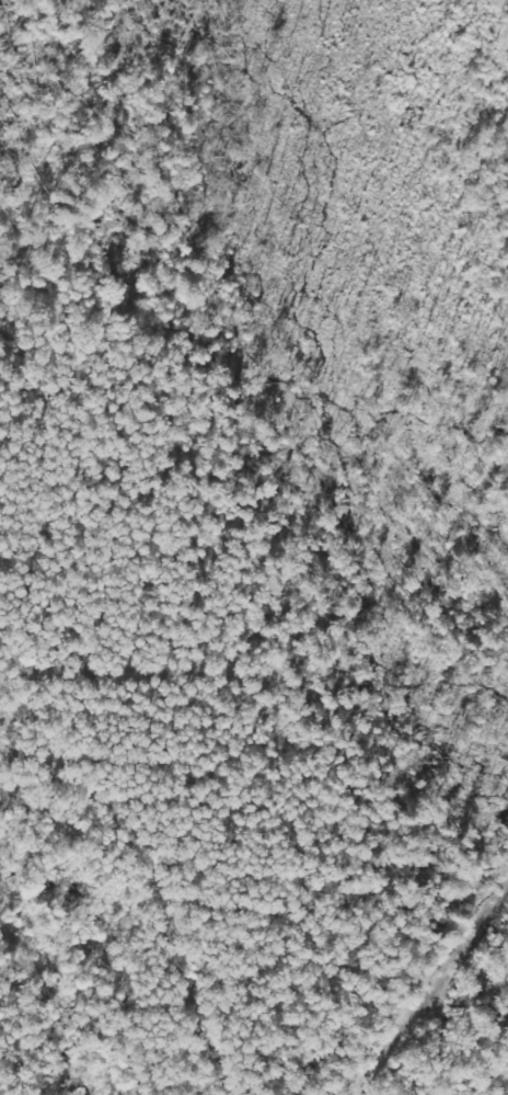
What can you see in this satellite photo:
road: (463, 1029)

